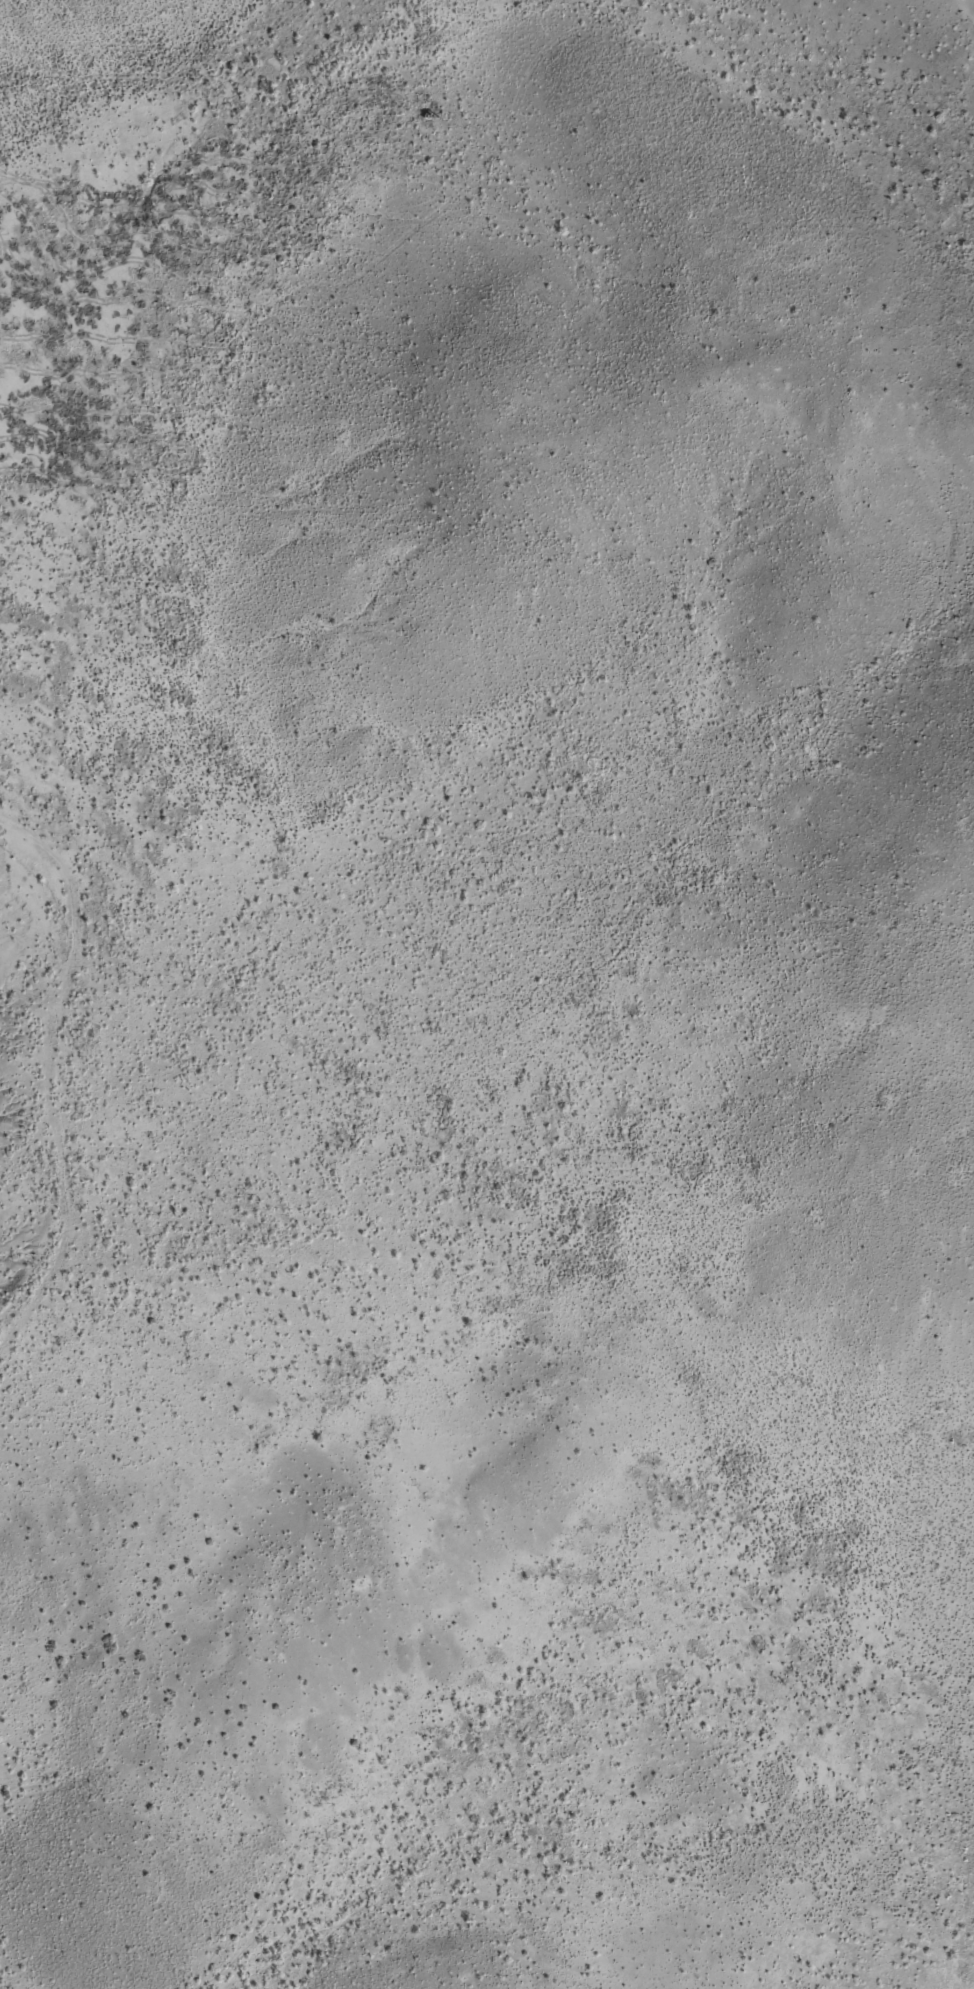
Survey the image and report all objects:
road: (508, 186)
road: (51, 1114)

